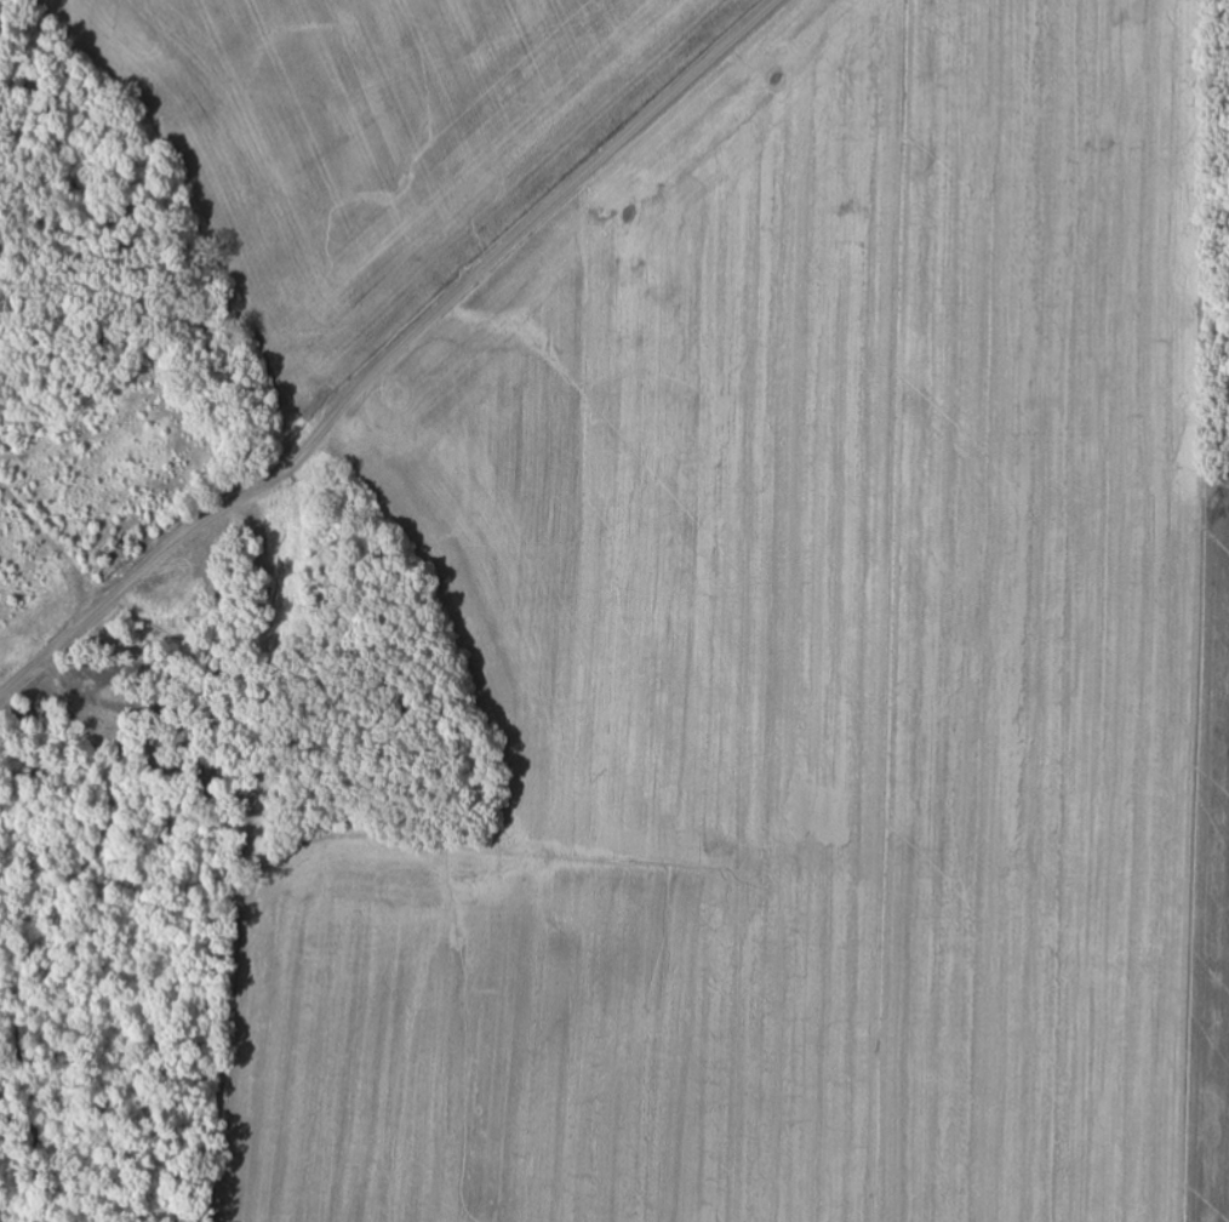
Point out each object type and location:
road: (393, 354)

